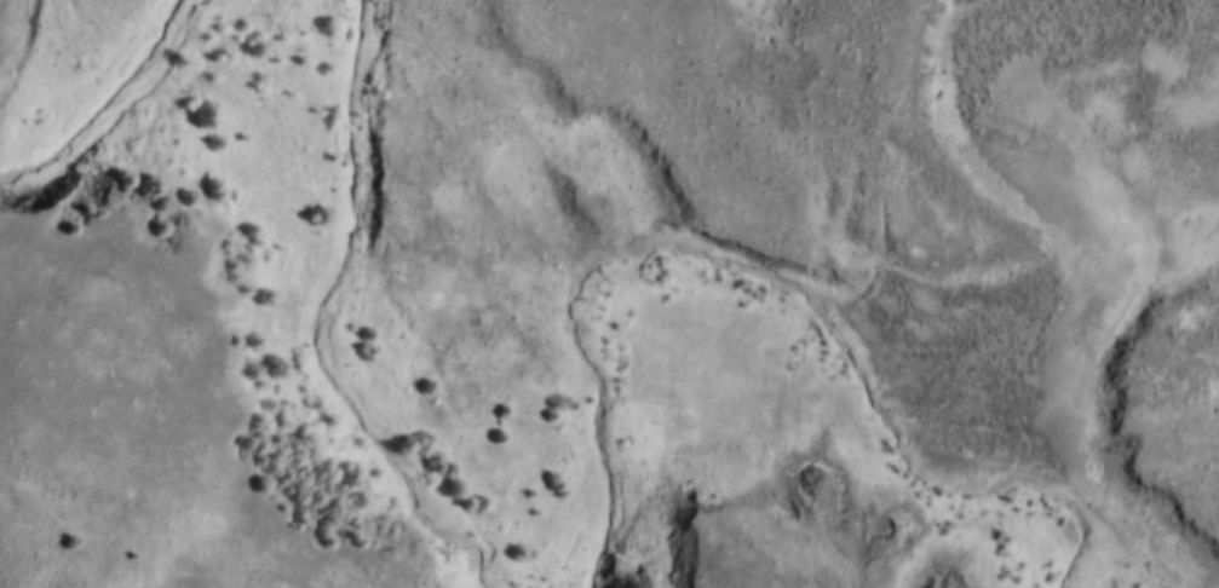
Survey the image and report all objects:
river: (105, 106)
river: (763, 275)
river: (328, 318)

